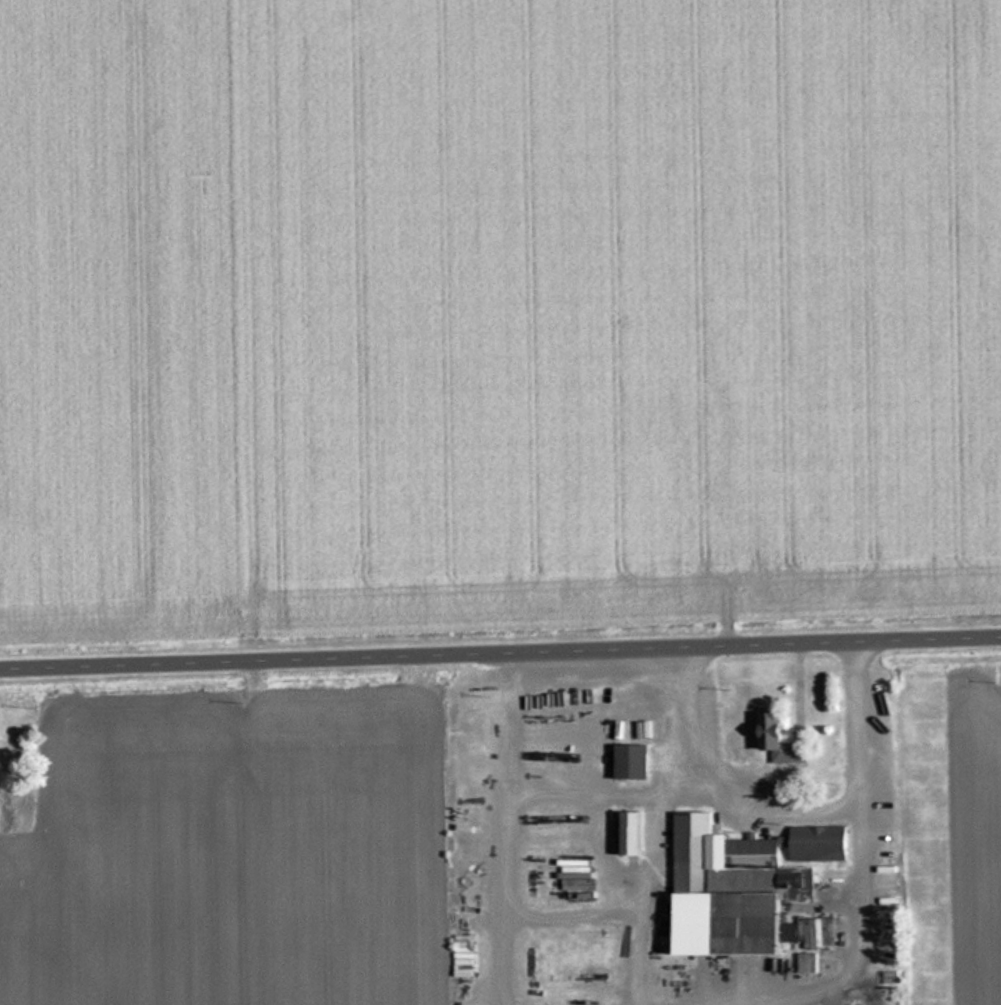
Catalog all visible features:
road: (500, 645)
building: (783, 740)
building: (636, 760)
building: (637, 832)
building: (744, 885)
building: (818, 964)

